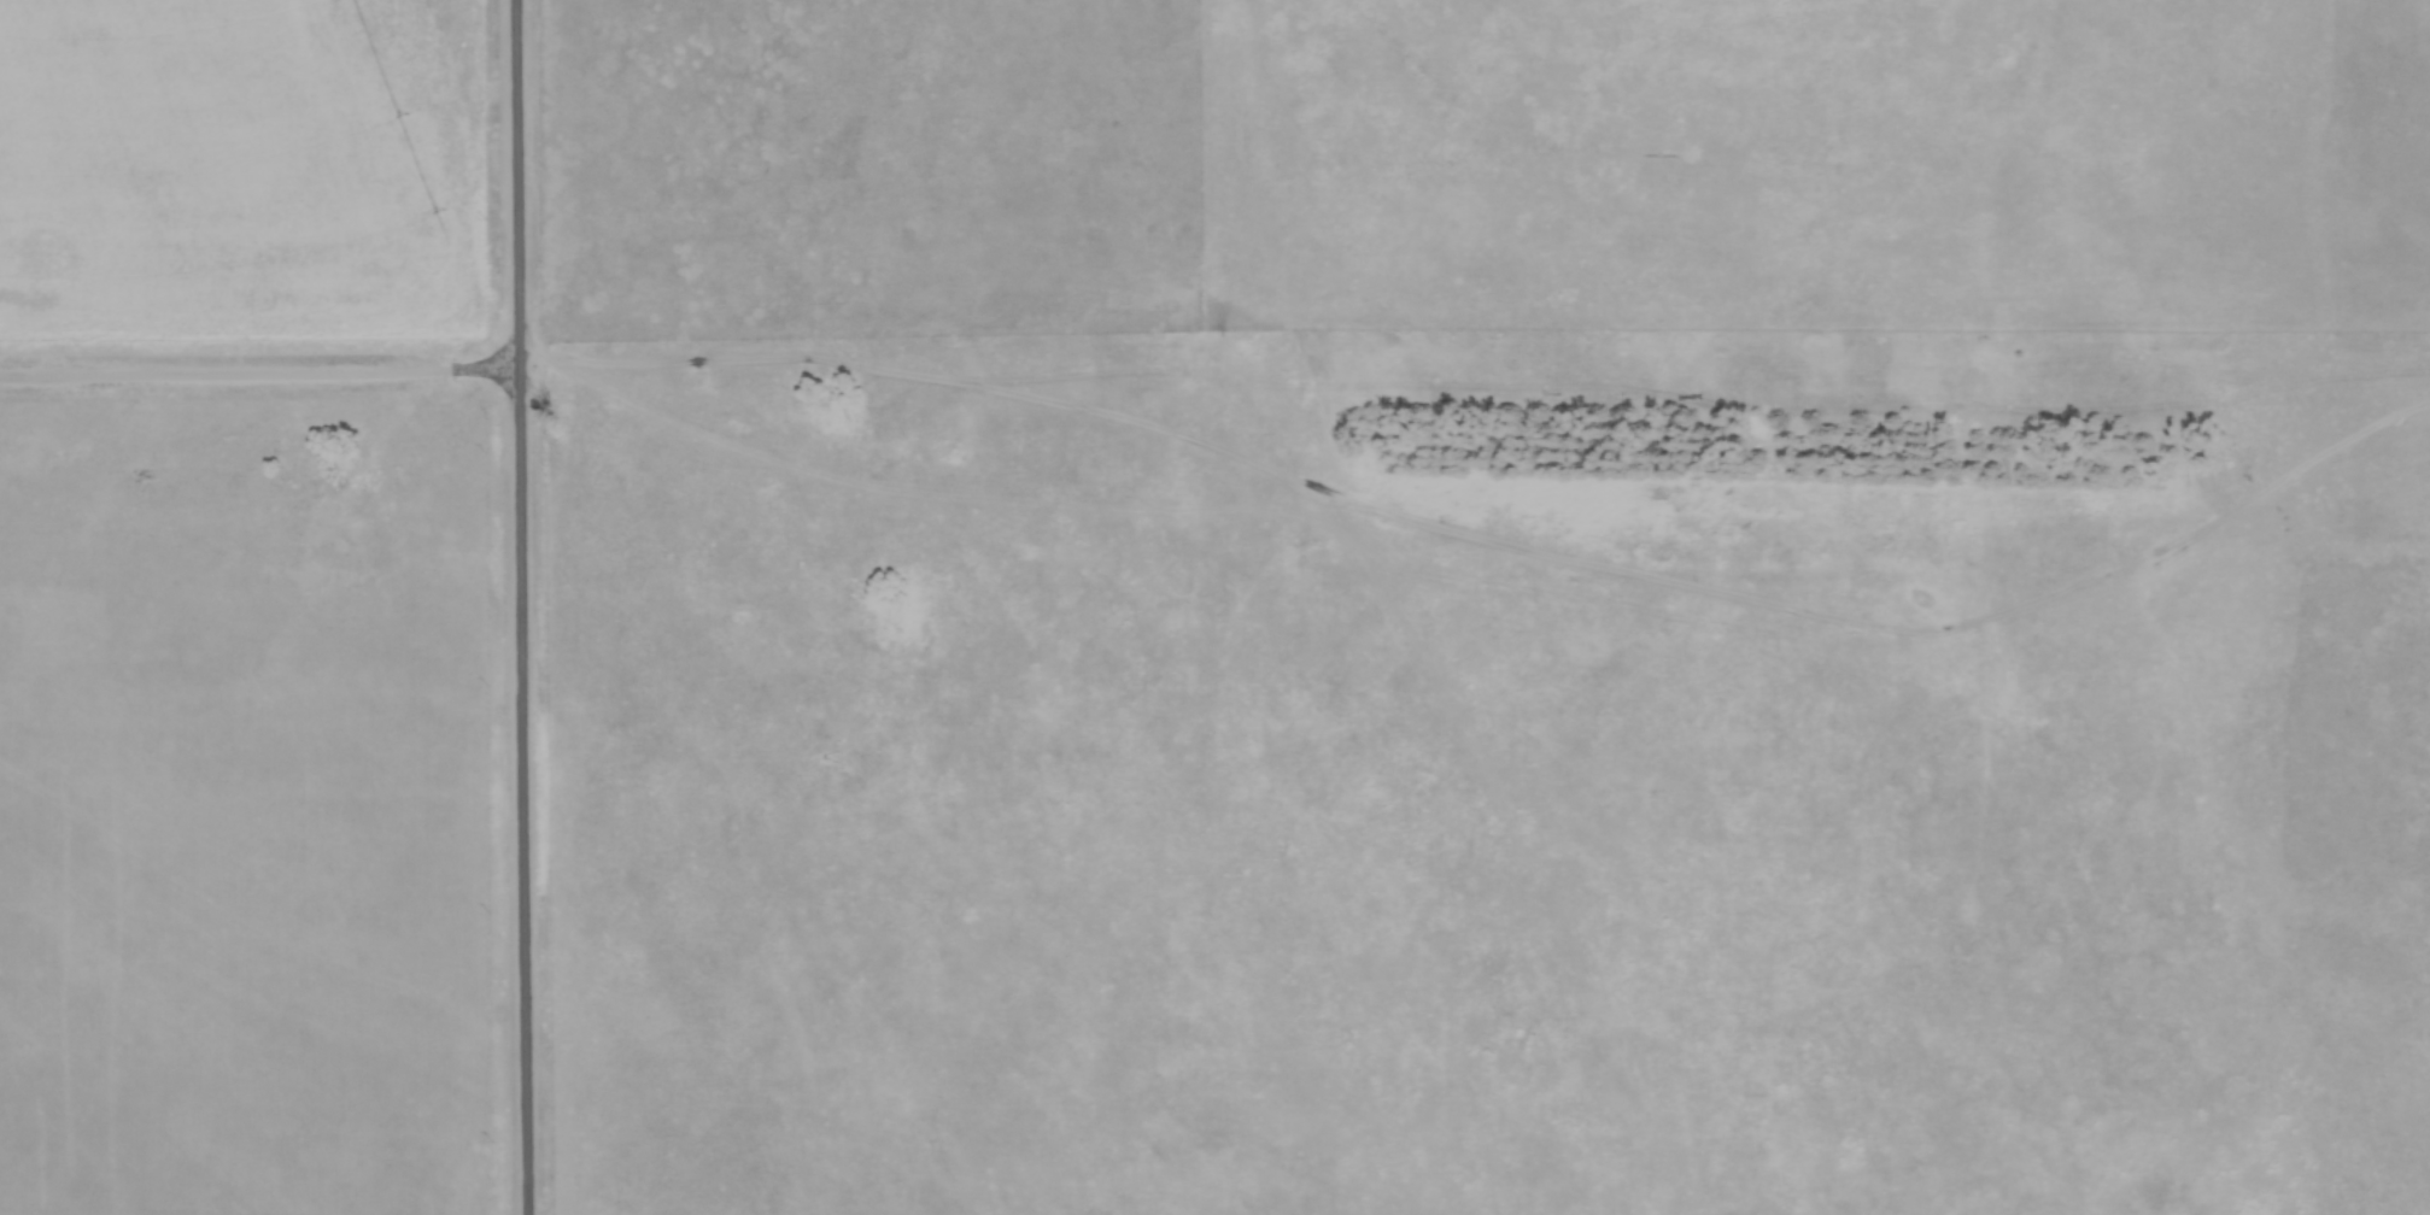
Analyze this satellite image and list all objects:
road: (254, 381)
road: (514, 607)

